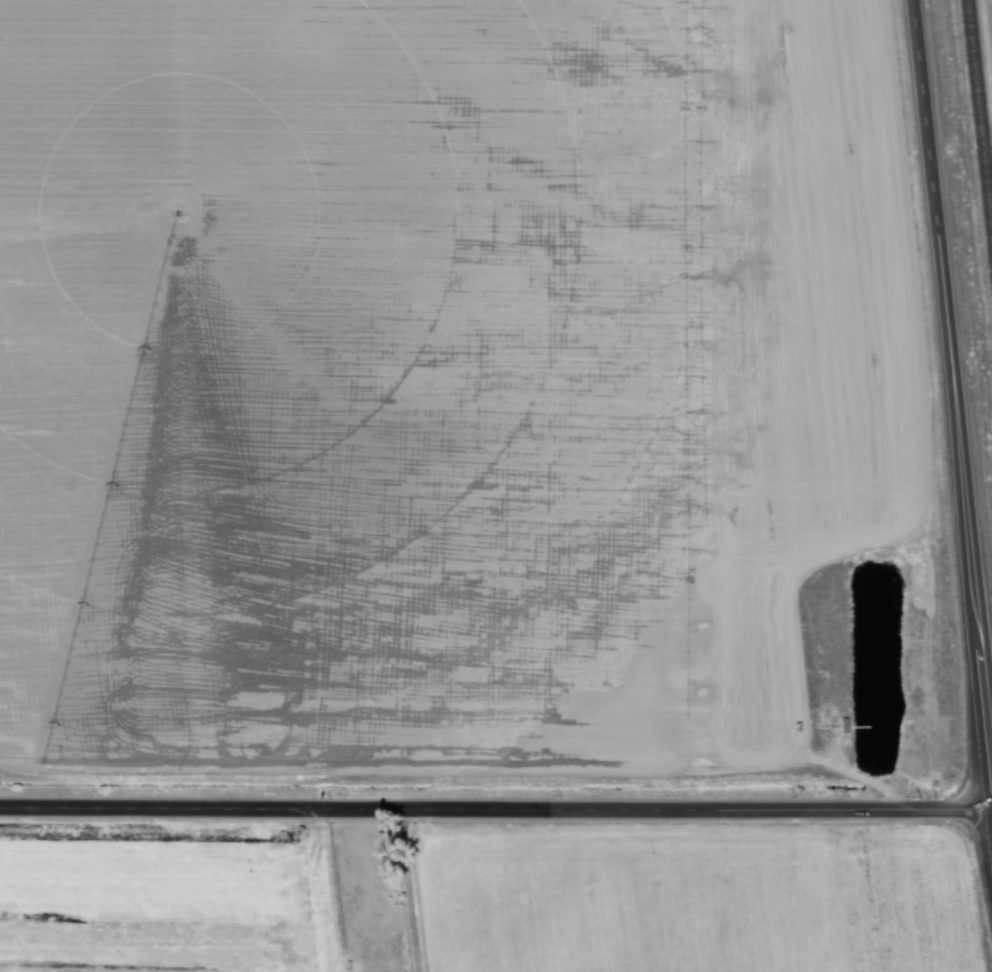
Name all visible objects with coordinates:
railway: (980, 97)
road: (949, 409)
road: (991, 809)
road: (495, 811)

